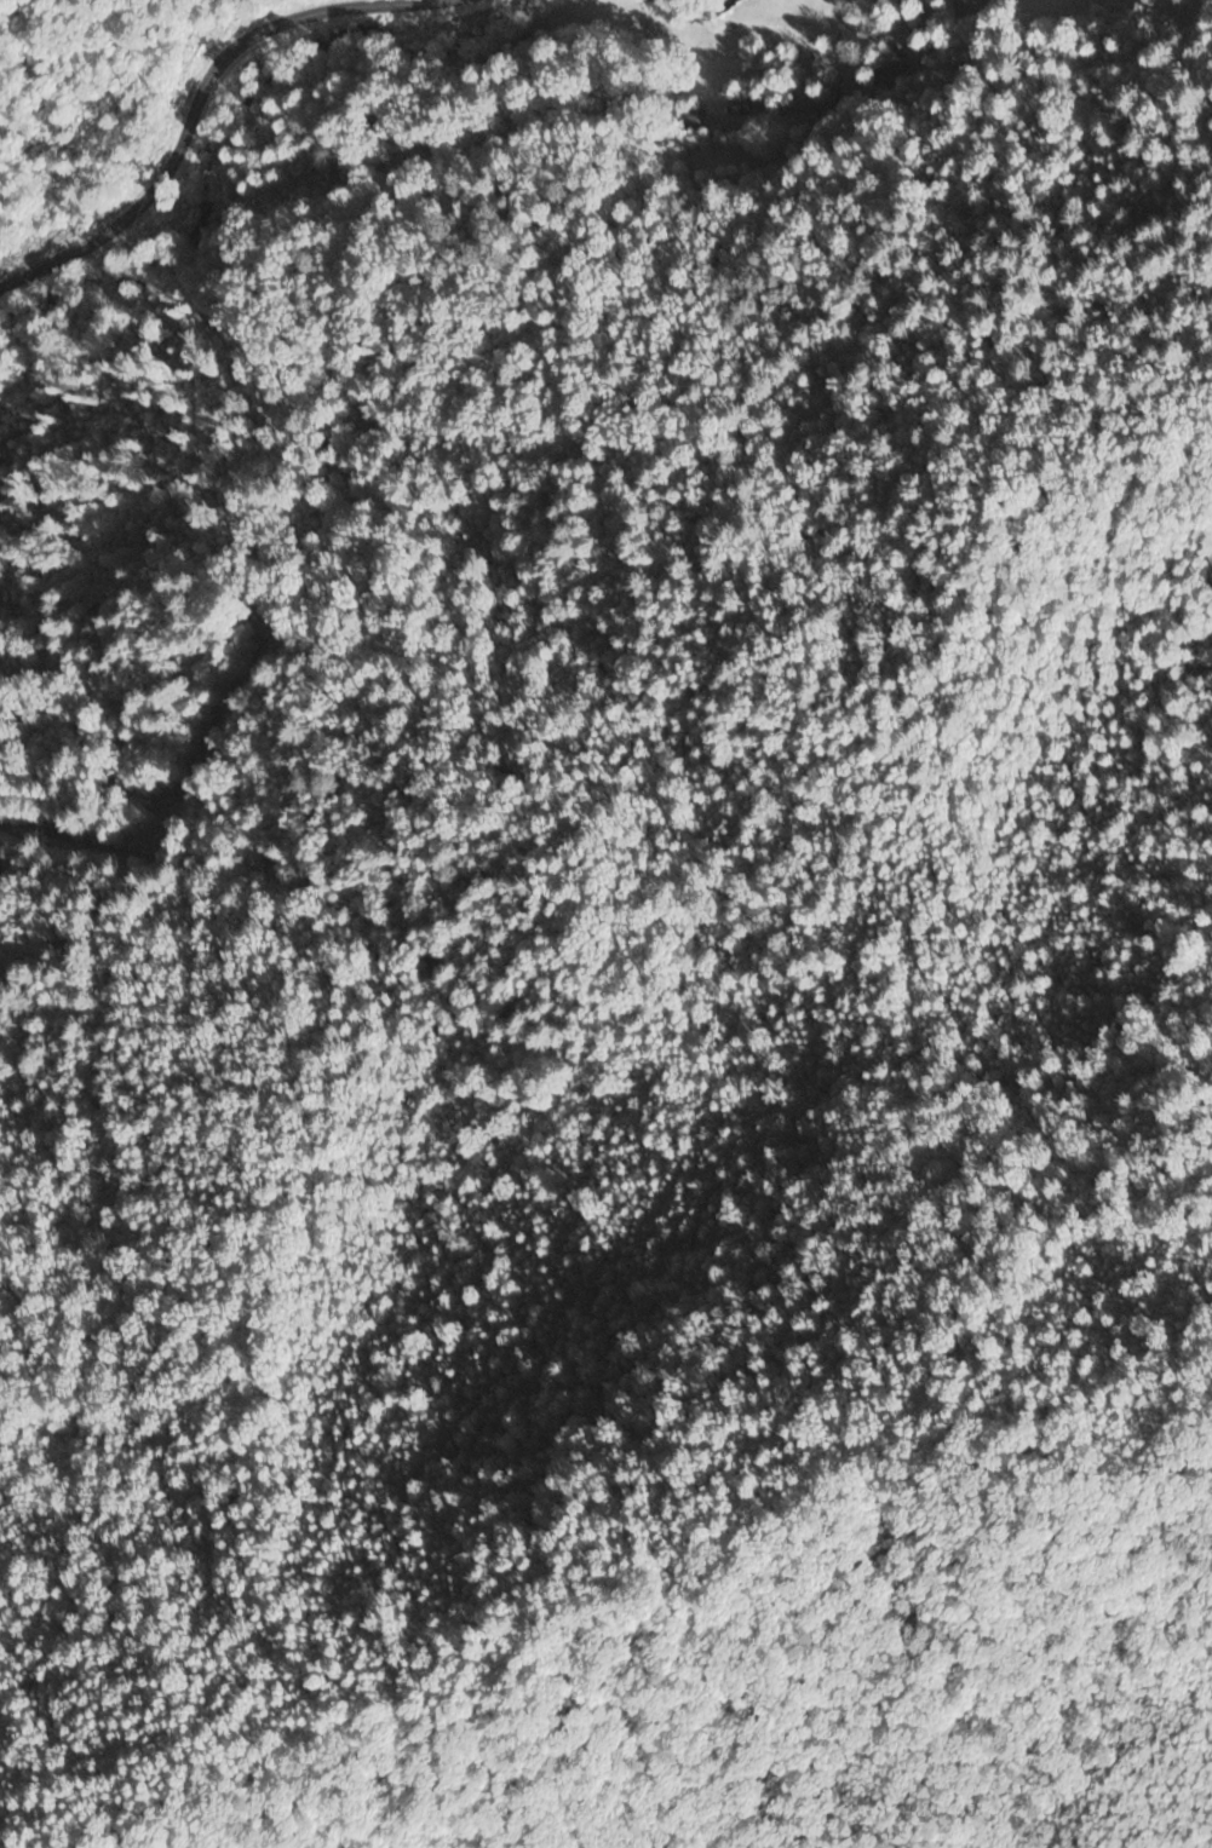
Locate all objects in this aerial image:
road: (195, 99)
building: (737, 123)

